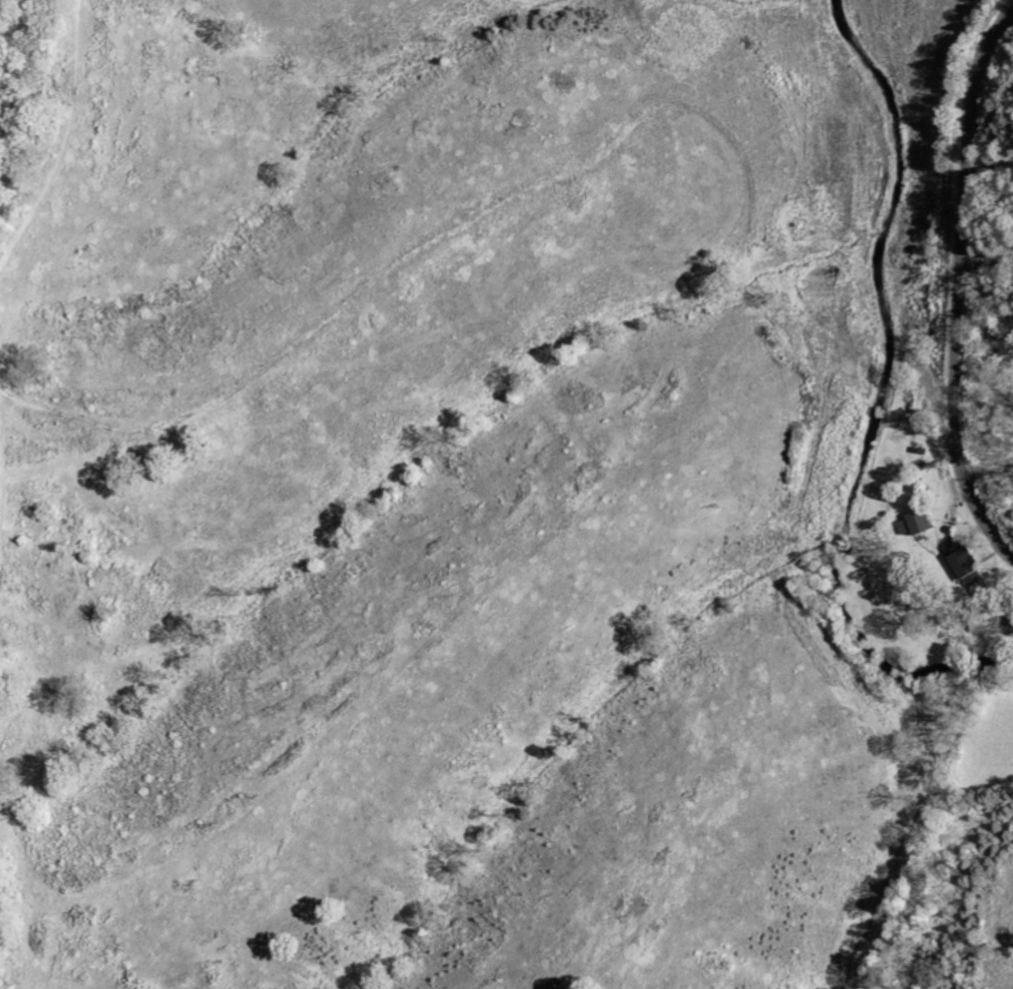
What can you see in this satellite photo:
road: (962, 279)
building: (914, 524)
road: (1009, 552)
building: (966, 563)

